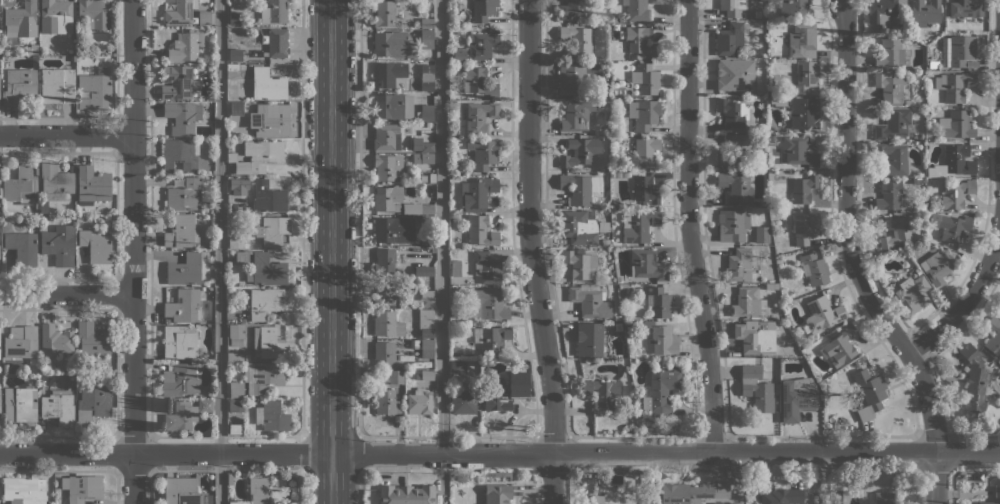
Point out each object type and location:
building: (654, 1)
building: (732, 7)
building: (793, 8)
building: (965, 8)
building: (483, 9)
building: (571, 9)
building: (636, 9)
building: (882, 10)
building: (180, 11)
building: (273, 11)
building: (924, 12)
building: (94, 13)
building: (384, 13)
building: (763, 14)
building: (56, 16)
building: (203, 17)
building: (235, 17)
building: (614, 18)
building: (21, 20)
building: (426, 23)
building: (426, 39)
building: (730, 39)
building: (577, 40)
building: (802, 40)
building: (640, 41)
building: (277, 43)
building: (393, 44)
building: (483, 44)
building: (185, 45)
building: (34, 48)
building: (944, 48)
building: (961, 49)
building: (891, 52)
building: (235, 54)
building: (459, 55)
building: (971, 64)
building: (231, 67)
building: (388, 73)
building: (731, 76)
building: (427, 77)
building: (805, 77)
building: (572, 78)
building: (645, 78)
building: (177, 82)
building: (477, 83)
building: (267, 84)
building: (17, 85)
building: (57, 85)
building: (954, 85)
building: (889, 87)
building: (94, 91)
building: (210, 97)
building: (778, 101)
building: (907, 102)
building: (388, 106)
building: (235, 108)
building: (425, 112)
building: (732, 112)
building: (643, 113)
building: (804, 113)
building: (941, 113)
building: (576, 115)
building: (182, 116)
building: (479, 116)
building: (272, 120)
building: (894, 123)
building: (956, 124)
building: (931, 133)
road: (66, 135)
building: (387, 137)
building: (427, 147)
building: (734, 150)
building: (580, 151)
building: (645, 151)
building: (798, 151)
building: (482, 153)
building: (183, 155)
building: (257, 156)
building: (892, 157)
building: (422, 158)
building: (958, 159)
building: (386, 166)
building: (615, 167)
building: (461, 171)
building: (612, 174)
building: (432, 177)
building: (422, 178)
building: (55, 182)
building: (20, 185)
building: (92, 185)
building: (736, 186)
building: (576, 188)
building: (802, 188)
building: (645, 190)
building: (0, 192)
building: (477, 193)
building: (184, 194)
building: (956, 194)
building: (264, 195)
building: (888, 195)
building: (387, 198)
building: (615, 202)
building: (43, 206)
building: (411, 208)
building: (747, 208)
building: (426, 209)
road: (301, 219)
road: (358, 219)
building: (427, 220)
building: (641, 225)
road: (688, 225)
building: (732, 225)
road: (440, 226)
building: (603, 226)
building: (951, 226)
building: (578, 227)
building: (804, 227)
building: (393, 229)
building: (272, 230)
building: (181, 231)
building: (480, 231)
building: (897, 232)
building: (761, 234)
building: (235, 241)
building: (425, 241)
building: (604, 242)
building: (59, 244)
building: (96, 244)
building: (22, 248)
building: (433, 249)
road: (133, 252)
road: (219, 252)
road: (330, 252)
road: (530, 252)
building: (241, 257)
building: (384, 261)
road: (855, 261)
building: (580, 264)
building: (646, 264)
building: (738, 264)
building: (454, 267)
building: (938, 267)
building: (487, 268)
building: (267, 269)
building: (814, 269)
building: (184, 270)
building: (424, 271)
building: (771, 286)
building: (383, 292)
road: (66, 293)
building: (912, 294)
building: (426, 298)
road: (967, 300)
building: (589, 301)
building: (264, 302)
building: (658, 302)
building: (747, 302)
building: (487, 304)
building: (183, 305)
building: (999, 308)
building: (999, 311)
building: (821, 314)
building: (617, 317)
building: (452, 319)
building: (168, 321)
building: (425, 322)
building: (386, 323)
building: (770, 325)
building: (235, 334)
building: (993, 336)
building: (92, 338)
building: (589, 338)
building: (661, 338)
building: (750, 338)
building: (493, 339)
building: (55, 340)
building: (179, 341)
building: (21, 343)
building: (267, 343)
building: (841, 344)
building: (426, 348)
building: (794, 352)
building: (384, 353)
building: (233, 356)
building: (854, 363)
building: (458, 367)
building: (4, 371)
building: (427, 375)
building: (262, 376)
building: (392, 377)
building: (974, 379)
building: (179, 380)
building: (756, 388)
building: (236, 389)
building: (662, 390)
building: (602, 393)
building: (869, 393)
building: (500, 395)
building: (462, 399)
building: (795, 399)
building: (386, 402)
building: (419, 402)
building: (20, 404)
building: (92, 404)
building: (205, 405)
building: (236, 405)
building: (58, 407)
building: (180, 416)
building: (271, 416)
road: (500, 453)
road: (302, 454)
road: (359, 455)
building: (997, 486)
building: (81, 487)
road: (302, 487)
road: (359, 488)
building: (23, 490)
building: (181, 490)
building: (262, 492)
building: (685, 493)
building: (406, 494)
building: (497, 494)
building: (782, 496)
building: (837, 497)
building: (880, 498)
building: (597, 499)
building: (233, 502)
building: (728, 502)

